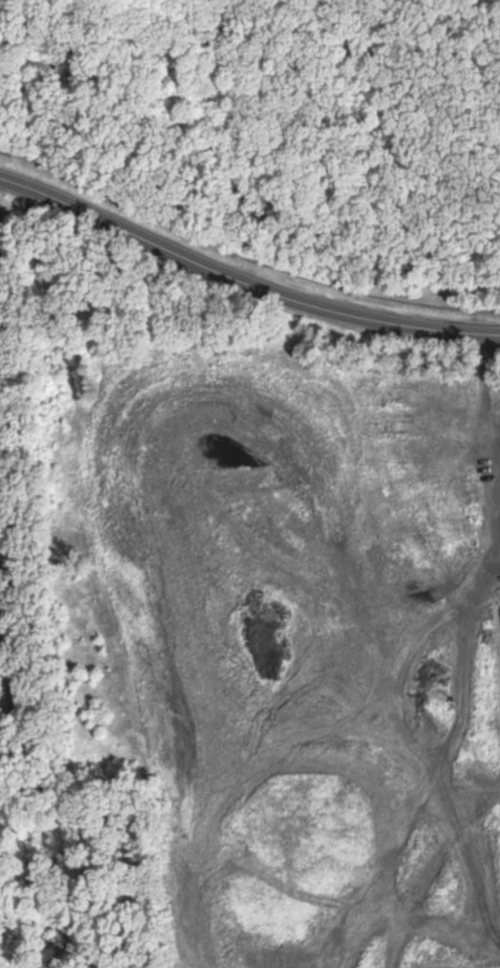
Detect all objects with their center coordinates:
road: (242, 279)
road: (8, 580)

